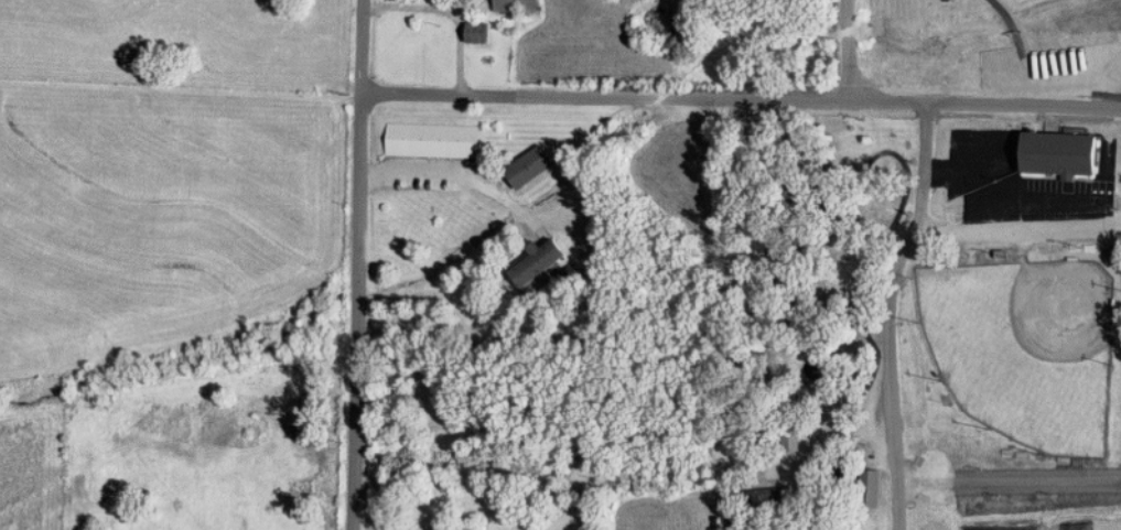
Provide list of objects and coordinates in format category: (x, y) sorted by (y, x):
building: (950, 0)
building: (518, 6)
building: (478, 33)
road: (848, 50)
road: (606, 97)
road: (985, 104)
building: (434, 140)
building: (1060, 153)
building: (530, 166)
road: (492, 187)
crop: (165, 214)
building: (537, 261)
road: (358, 264)
road: (890, 313)
park: (928, 321)
park: (1026, 348)
building: (871, 488)
park: (1077, 524)
park: (999, 528)

